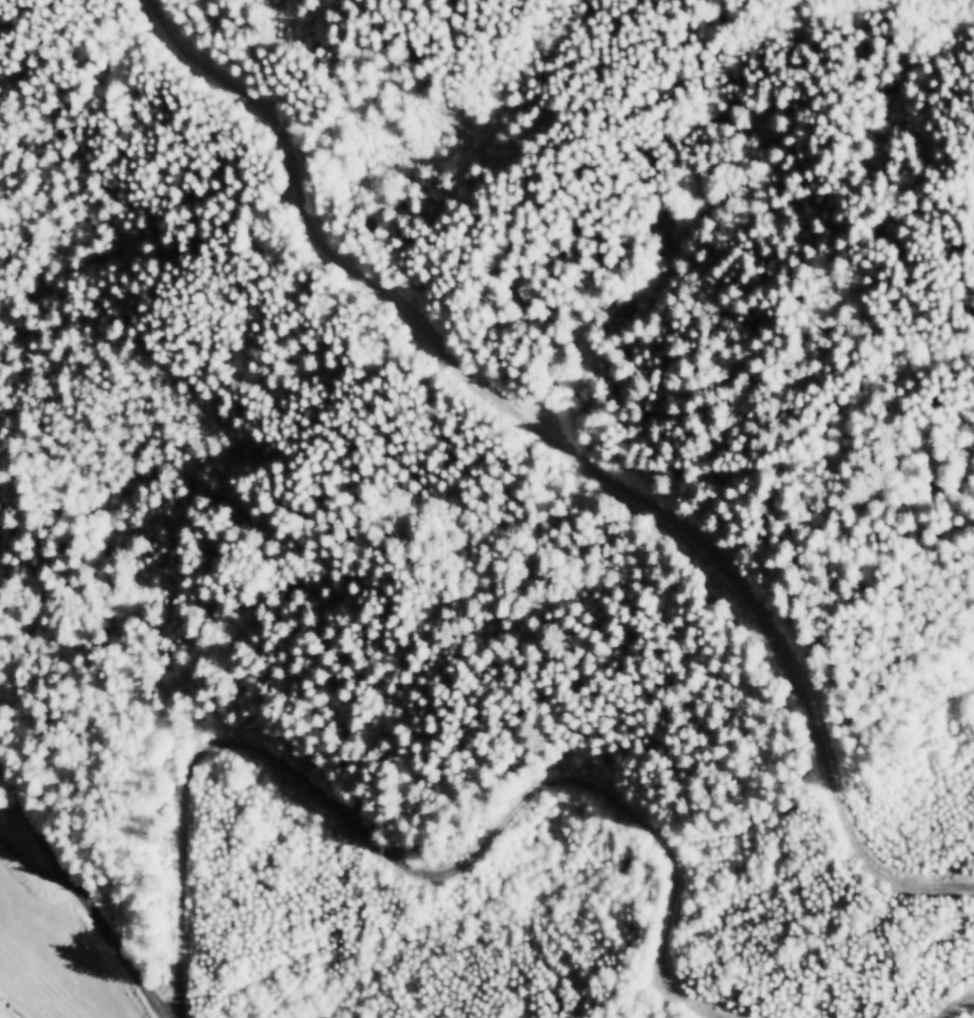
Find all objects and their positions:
road: (572, 451)
road: (410, 865)
road: (79, 887)
road: (959, 1007)

